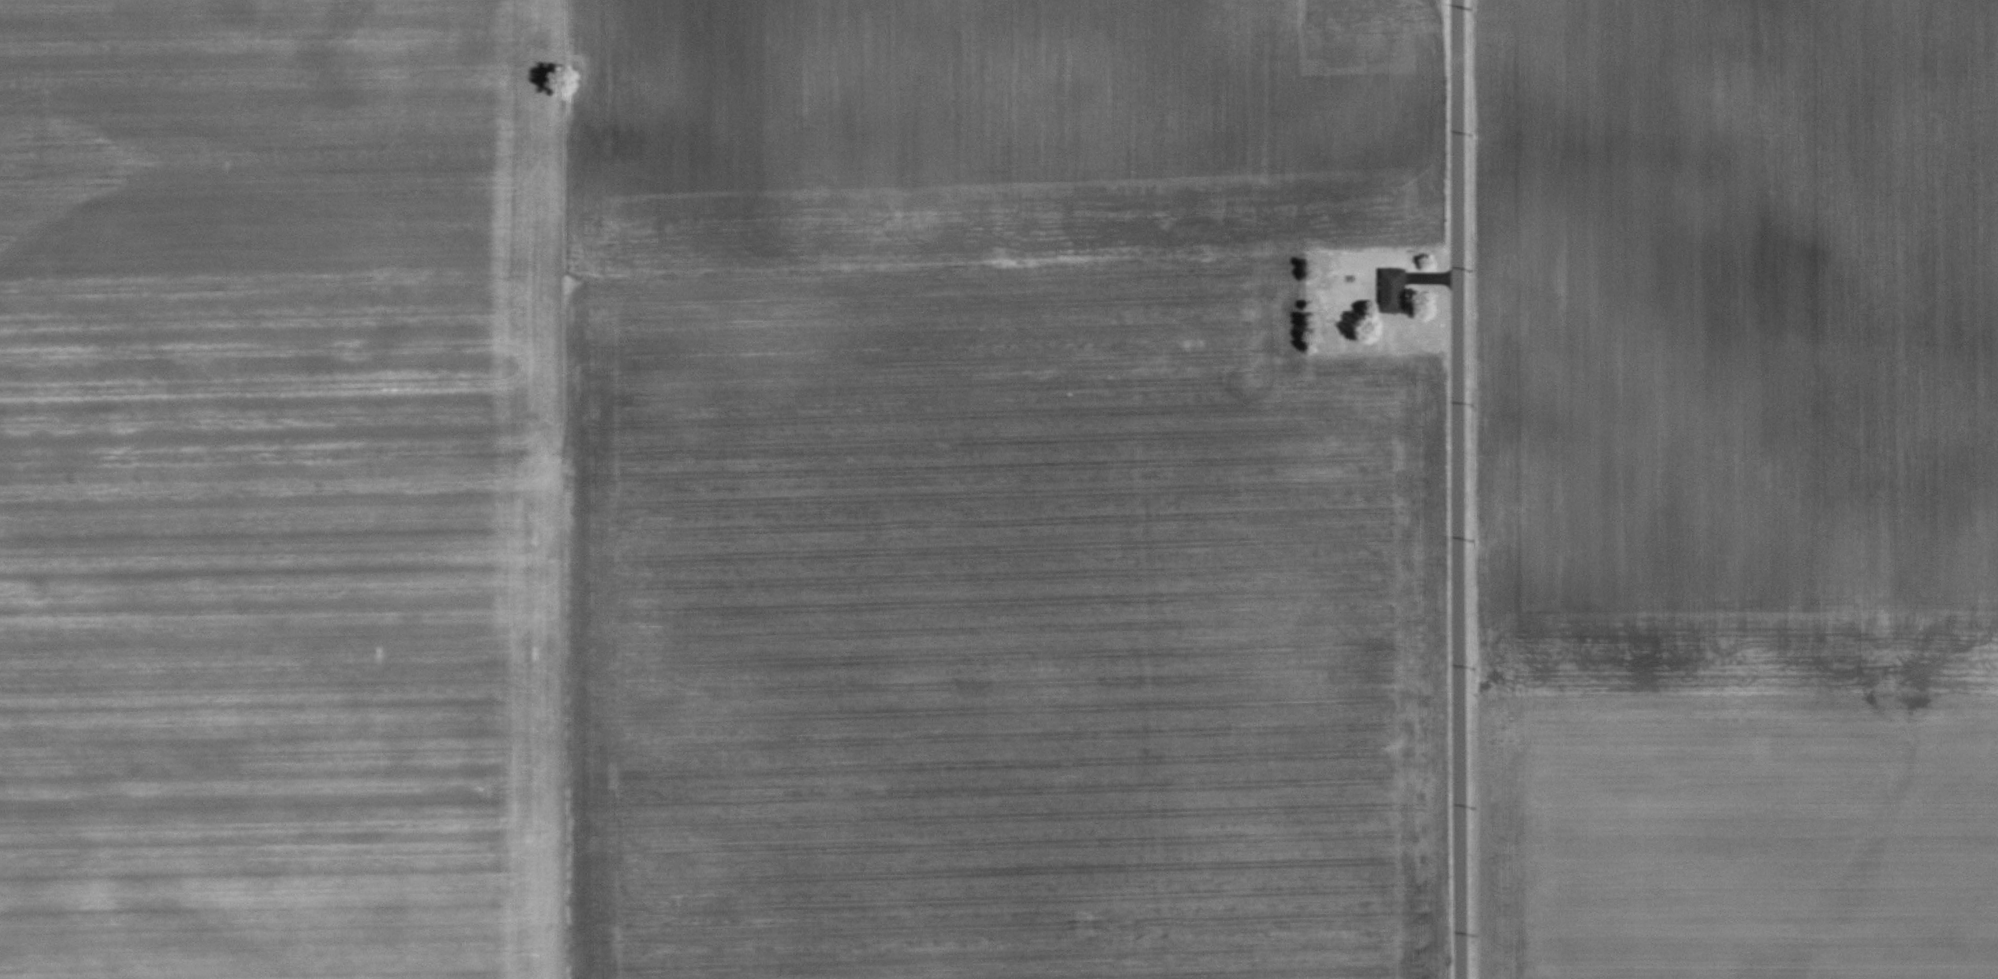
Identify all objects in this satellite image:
building: (1394, 289)
road: (1463, 489)

